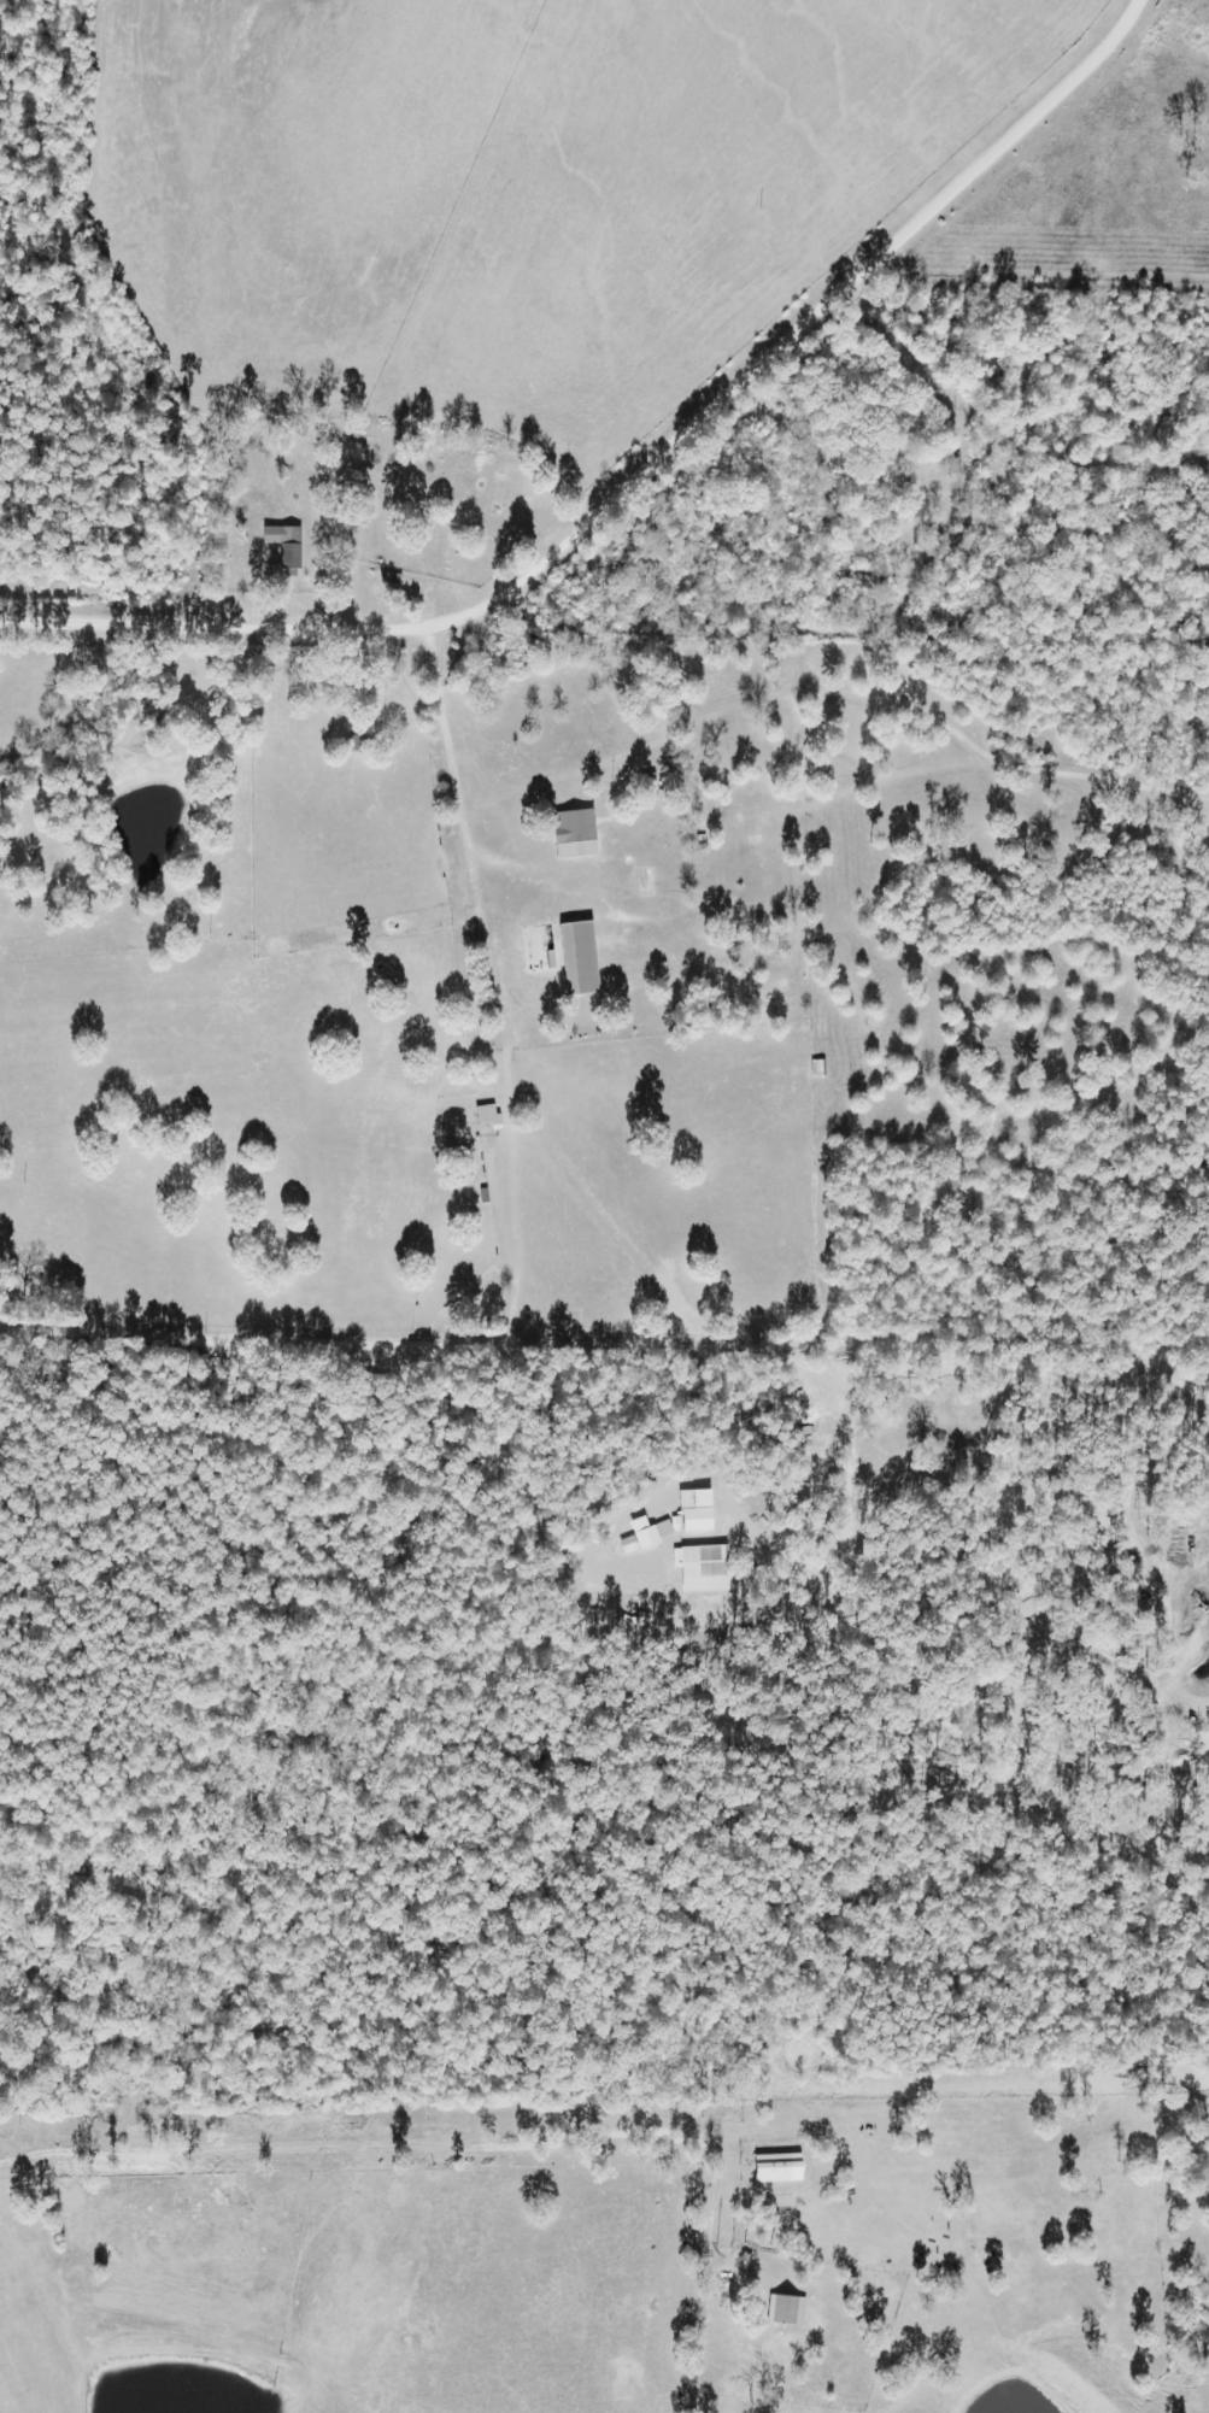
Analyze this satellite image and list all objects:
road: (635, 479)
park: (385, 486)
building: (287, 546)
building: (359, 745)
building: (574, 827)
building: (536, 951)
building: (581, 961)
road: (615, 1244)
building: (705, 1563)
building: (774, 2170)
building: (721, 2285)

